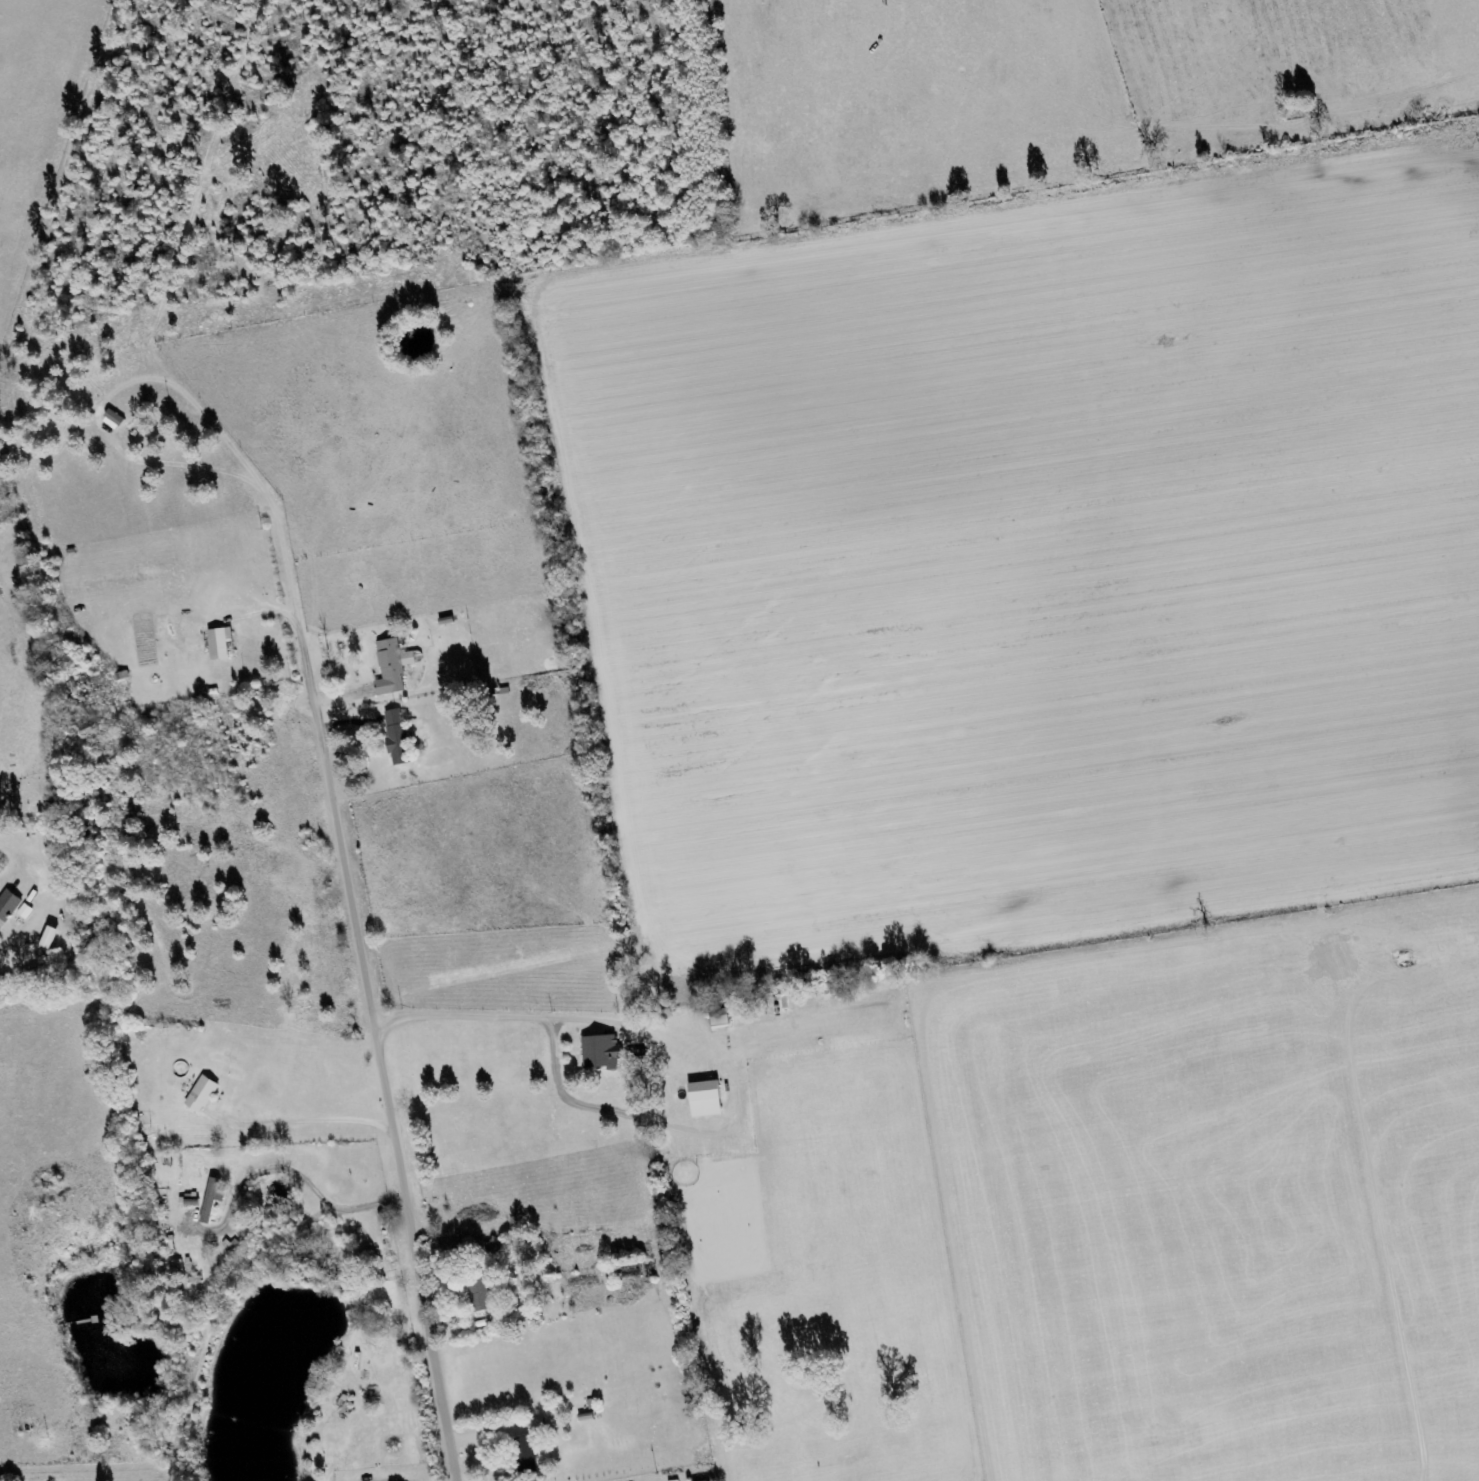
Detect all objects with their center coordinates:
building: (111, 420)
building: (223, 644)
building: (394, 667)
building: (399, 737)
road: (470, 850)
building: (10, 905)
road: (392, 968)
building: (716, 1019)
building: (598, 1052)
building: (701, 1091)
building: (200, 1095)
building: (211, 1199)
building: (523, 1456)

